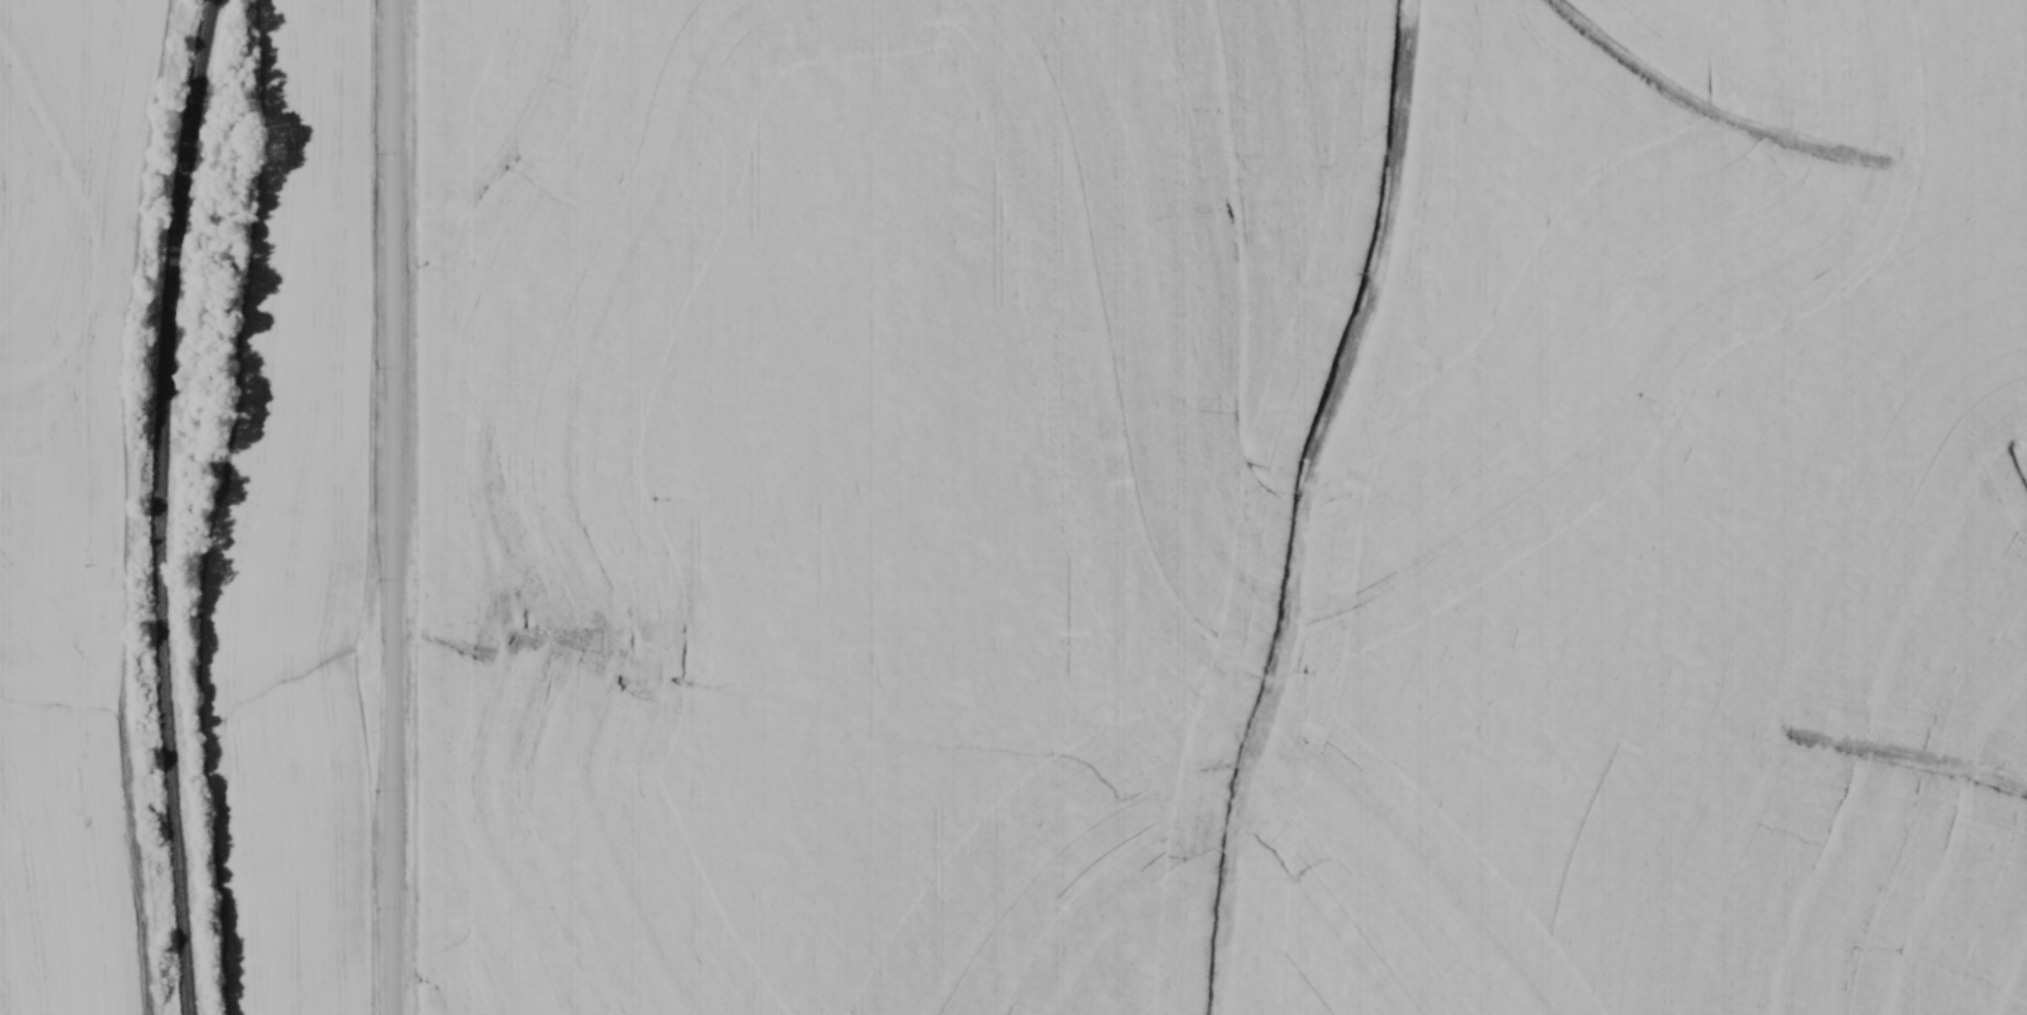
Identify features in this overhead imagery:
railway: (159, 505)
road: (391, 507)

